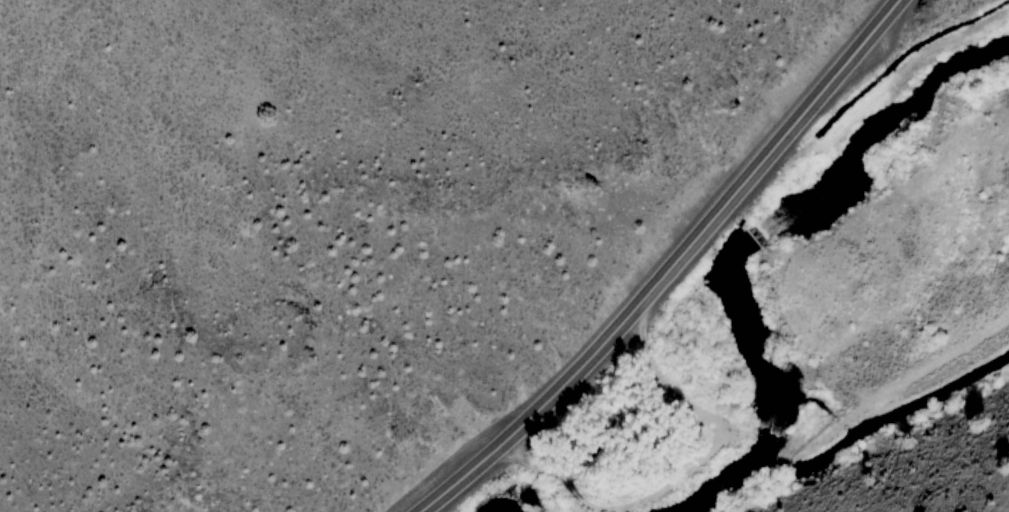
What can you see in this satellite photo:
building: (779, 224)
river: (754, 240)
road: (667, 267)

